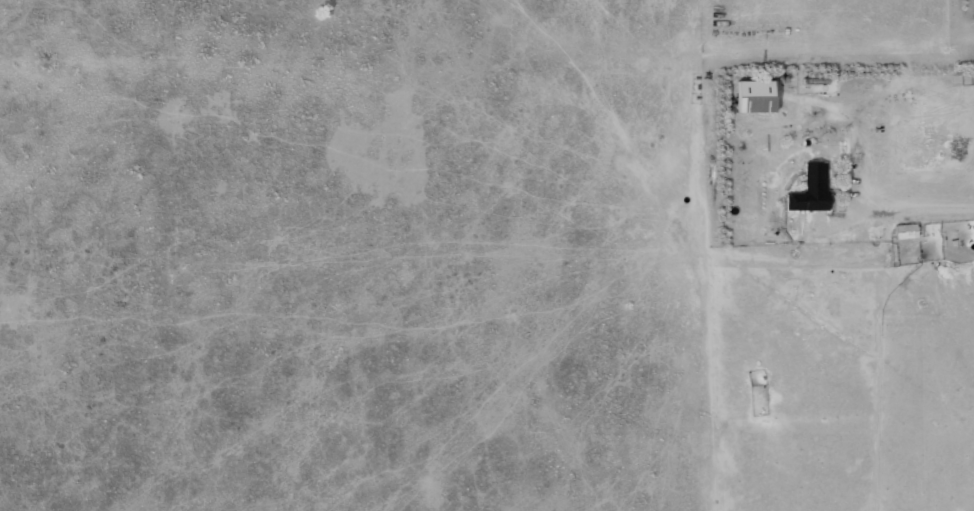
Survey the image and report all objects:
building: (757, 97)
building: (812, 190)
road: (922, 202)
building: (906, 232)

